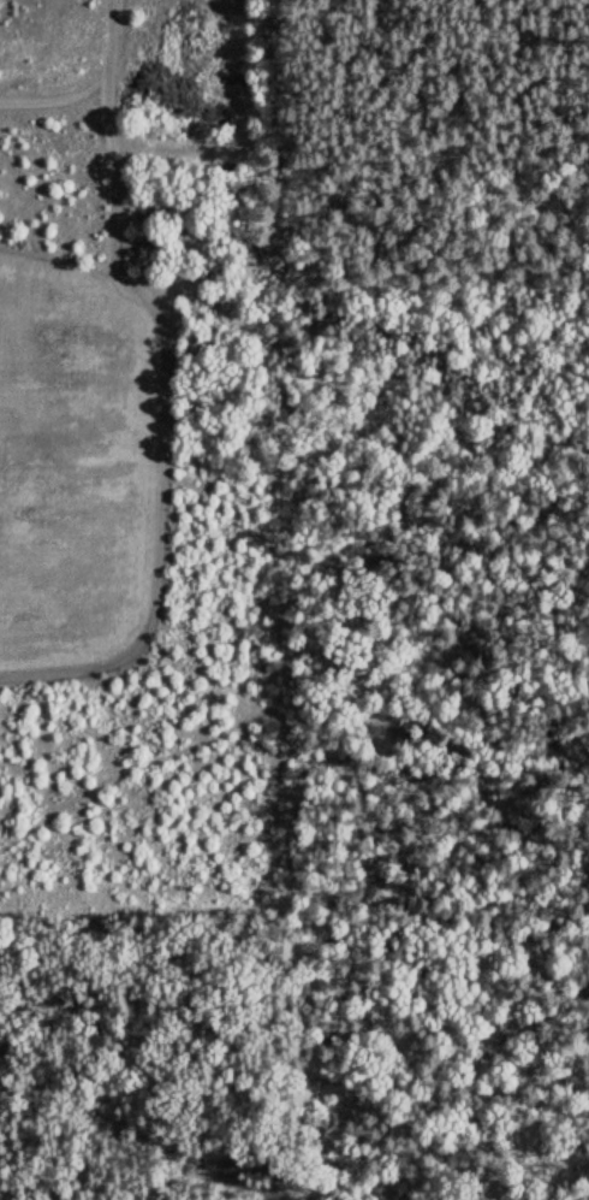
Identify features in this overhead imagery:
road: (120, 10)
road: (56, 19)
road: (351, 22)
airport: (84, 471)

